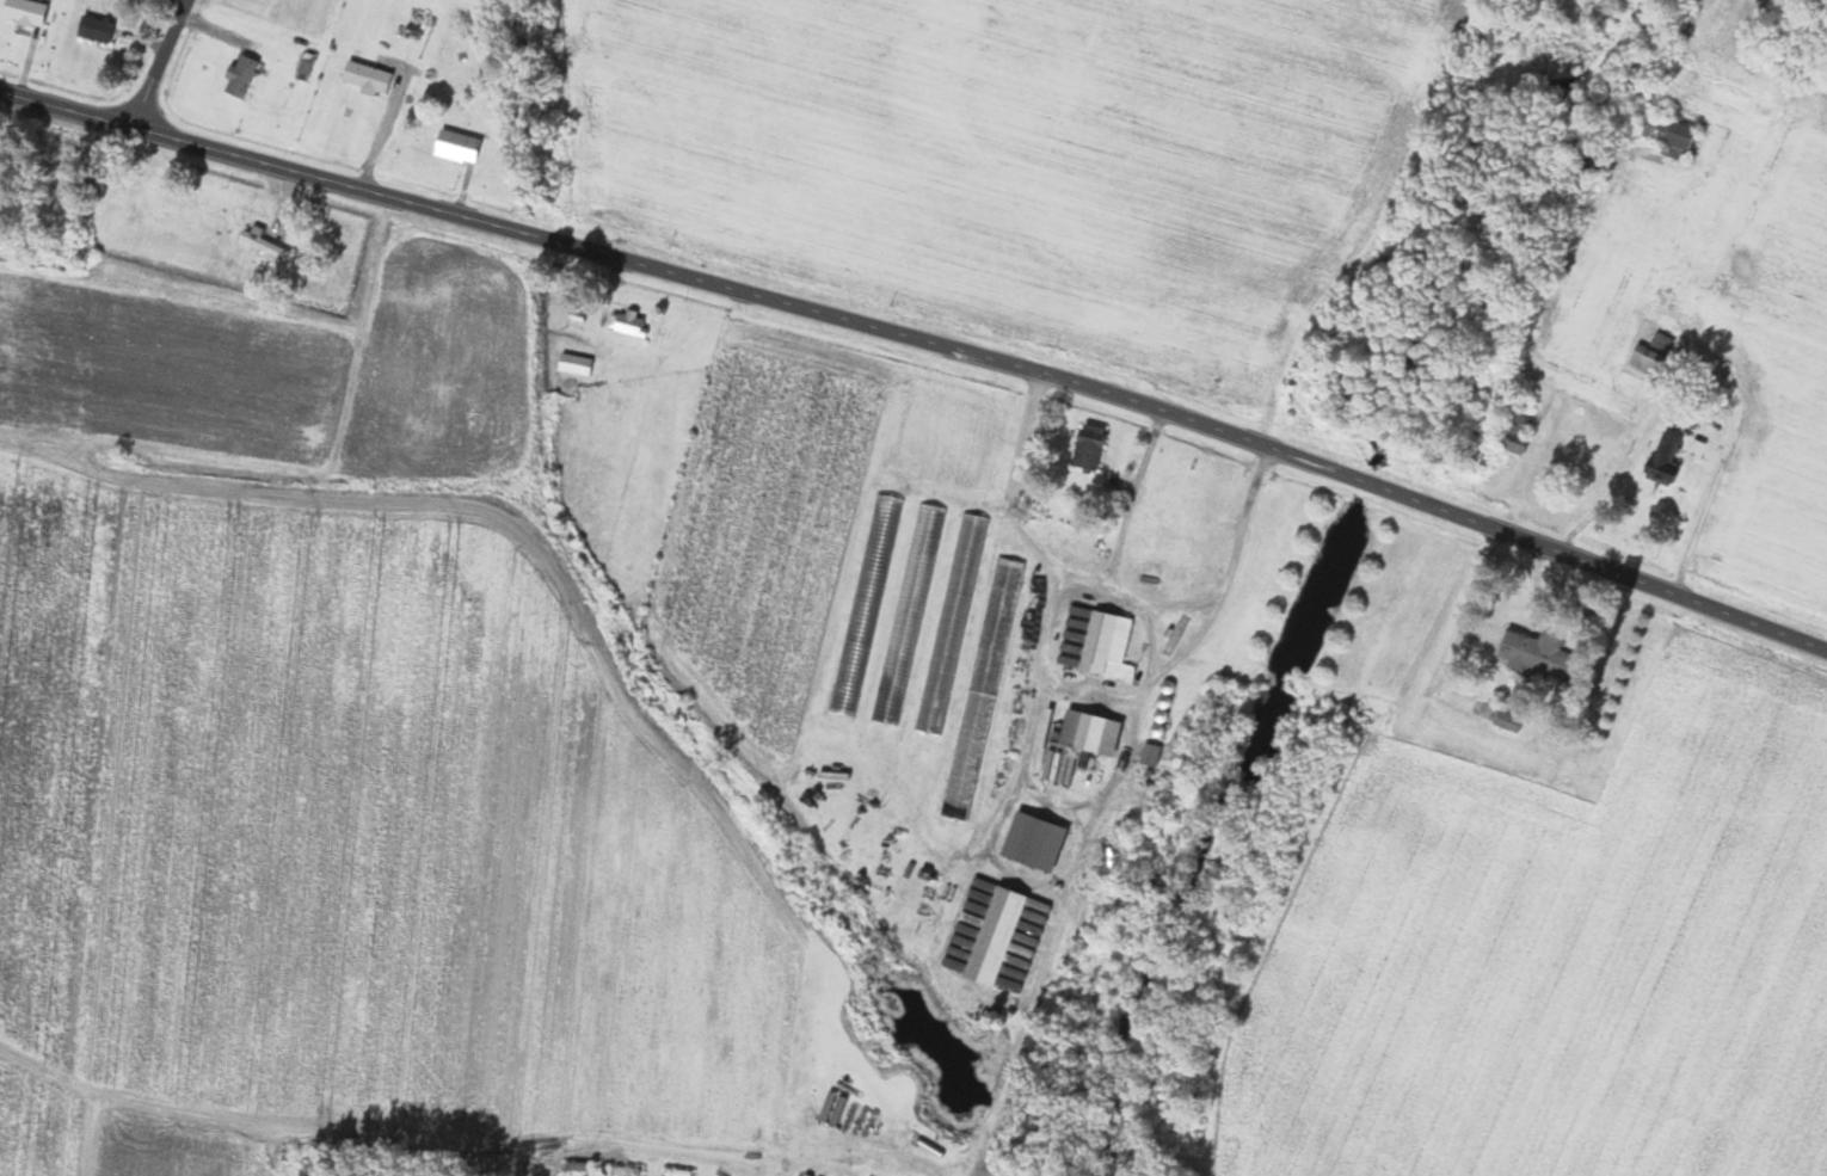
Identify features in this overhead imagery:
building: (25, 11)
building: (96, 27)
road: (161, 63)
building: (241, 75)
building: (367, 75)
building: (1678, 140)
building: (457, 146)
building: (260, 252)
building: (628, 322)
road: (923, 343)
building: (1651, 355)
building: (574, 364)
building: (1517, 433)
building: (1088, 448)
building: (1665, 460)
road: (1132, 497)
road: (1698, 528)
road: (1107, 585)
building: (865, 604)
building: (908, 612)
building: (951, 622)
building: (1107, 645)
building: (1538, 658)
building: (980, 688)
building: (1508, 720)
building: (1088, 732)
building: (1150, 753)
building: (1034, 841)
building: (1002, 931)

